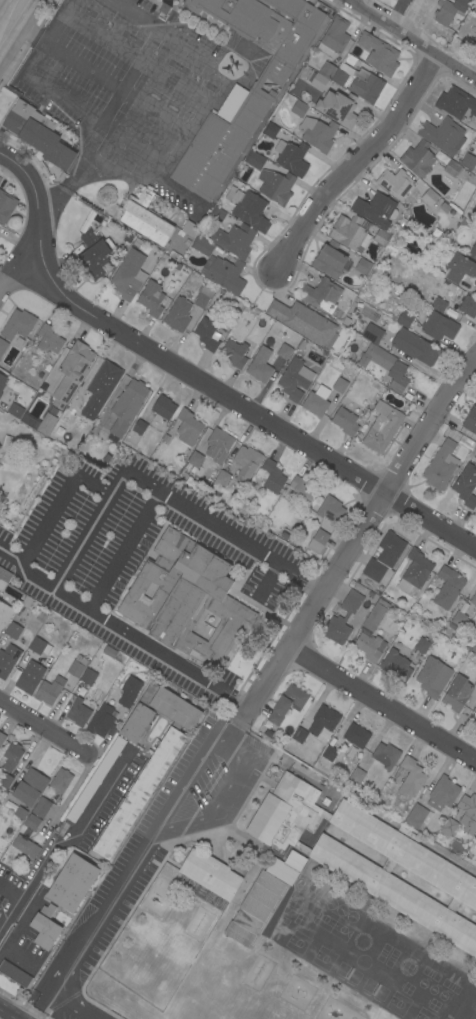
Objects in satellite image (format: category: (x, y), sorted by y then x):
road: (4, 1)
road: (2, 6)
building: (444, 12)
road: (58, 20)
road: (21, 32)
road: (34, 34)
building: (333, 38)
building: (475, 38)
road: (414, 41)
building: (475, 50)
building: (379, 53)
road: (135, 56)
building: (317, 80)
building: (354, 80)
road: (116, 86)
building: (246, 103)
building: (456, 103)
building: (298, 108)
building: (338, 108)
road: (109, 111)
road: (198, 112)
building: (270, 130)
building: (317, 133)
building: (38, 134)
building: (445, 147)
building: (291, 157)
building: (254, 160)
building: (468, 161)
road: (355, 162)
building: (452, 168)
road: (77, 172)
building: (475, 172)
building: (395, 183)
building: (276, 186)
building: (429, 197)
building: (440, 204)
building: (6, 206)
building: (248, 208)
building: (376, 209)
building: (217, 215)
building: (145, 218)
building: (448, 225)
building: (190, 229)
building: (355, 233)
building: (234, 240)
building: (202, 245)
building: (473, 251)
building: (94, 254)
building: (329, 259)
building: (362, 265)
road: (16, 266)
building: (459, 268)
building: (128, 274)
building: (226, 274)
building: (475, 283)
building: (320, 295)
building: (202, 296)
building: (151, 298)
building: (439, 304)
building: (468, 306)
building: (178, 314)
building: (404, 319)
building: (302, 321)
building: (17, 324)
building: (438, 326)
building: (369, 332)
building: (207, 334)
building: (49, 339)
building: (3, 346)
building: (415, 346)
building: (284, 351)
building: (234, 353)
building: (260, 365)
building: (386, 365)
building: (71, 372)
road: (197, 377)
building: (295, 379)
building: (2, 382)
building: (339, 385)
building: (101, 387)
building: (316, 401)
building: (127, 406)
building: (163, 407)
building: (15, 410)
building: (345, 421)
building: (470, 421)
building: (39, 422)
building: (188, 424)
road: (456, 424)
building: (139, 427)
building: (382, 430)
building: (12, 444)
building: (218, 444)
building: (0, 449)
building: (196, 463)
building: (245, 463)
building: (441, 465)
building: (271, 476)
building: (222, 478)
building: (466, 488)
building: (300, 491)
road: (54, 508)
building: (330, 509)
road: (359, 530)
road: (82, 539)
building: (317, 541)
road: (124, 550)
road: (11, 555)
building: (384, 558)
building: (414, 571)
building: (4, 578)
road: (267, 580)
building: (447, 587)
building: (185, 598)
building: (473, 599)
building: (4, 614)
building: (375, 614)
building: (338, 617)
building: (457, 620)
building: (12, 630)
building: (44, 634)
building: (421, 645)
building: (39, 646)
building: (368, 646)
building: (474, 647)
building: (8, 660)
building: (77, 666)
building: (396, 666)
building: (88, 676)
building: (430, 676)
building: (29, 677)
building: (475, 683)
building: (49, 690)
building: (129, 691)
building: (457, 693)
road: (383, 699)
building: (287, 703)
building: (78, 712)
building: (475, 715)
building: (101, 720)
building: (323, 721)
road: (235, 723)
road: (44, 726)
building: (299, 735)
building: (356, 735)
building: (2, 737)
building: (329, 753)
building: (386, 755)
building: (11, 756)
building: (357, 775)
road: (183, 778)
building: (410, 778)
building: (5, 780)
building: (59, 781)
building: (29, 787)
building: (442, 793)
building: (136, 797)
road: (217, 805)
building: (41, 807)
building: (20, 812)
building: (468, 813)
building: (415, 816)
building: (32, 822)
building: (448, 827)
building: (408, 833)
parking lot: (153, 834)
road: (62, 835)
building: (25, 846)
building: (294, 861)
building: (426, 865)
building: (210, 874)
building: (72, 883)
road: (104, 904)
building: (254, 908)
building: (45, 927)
building: (14, 974)
park: (223, 987)
road: (32, 993)
road: (73, 1004)
road: (9, 1013)
park: (379, 1013)

